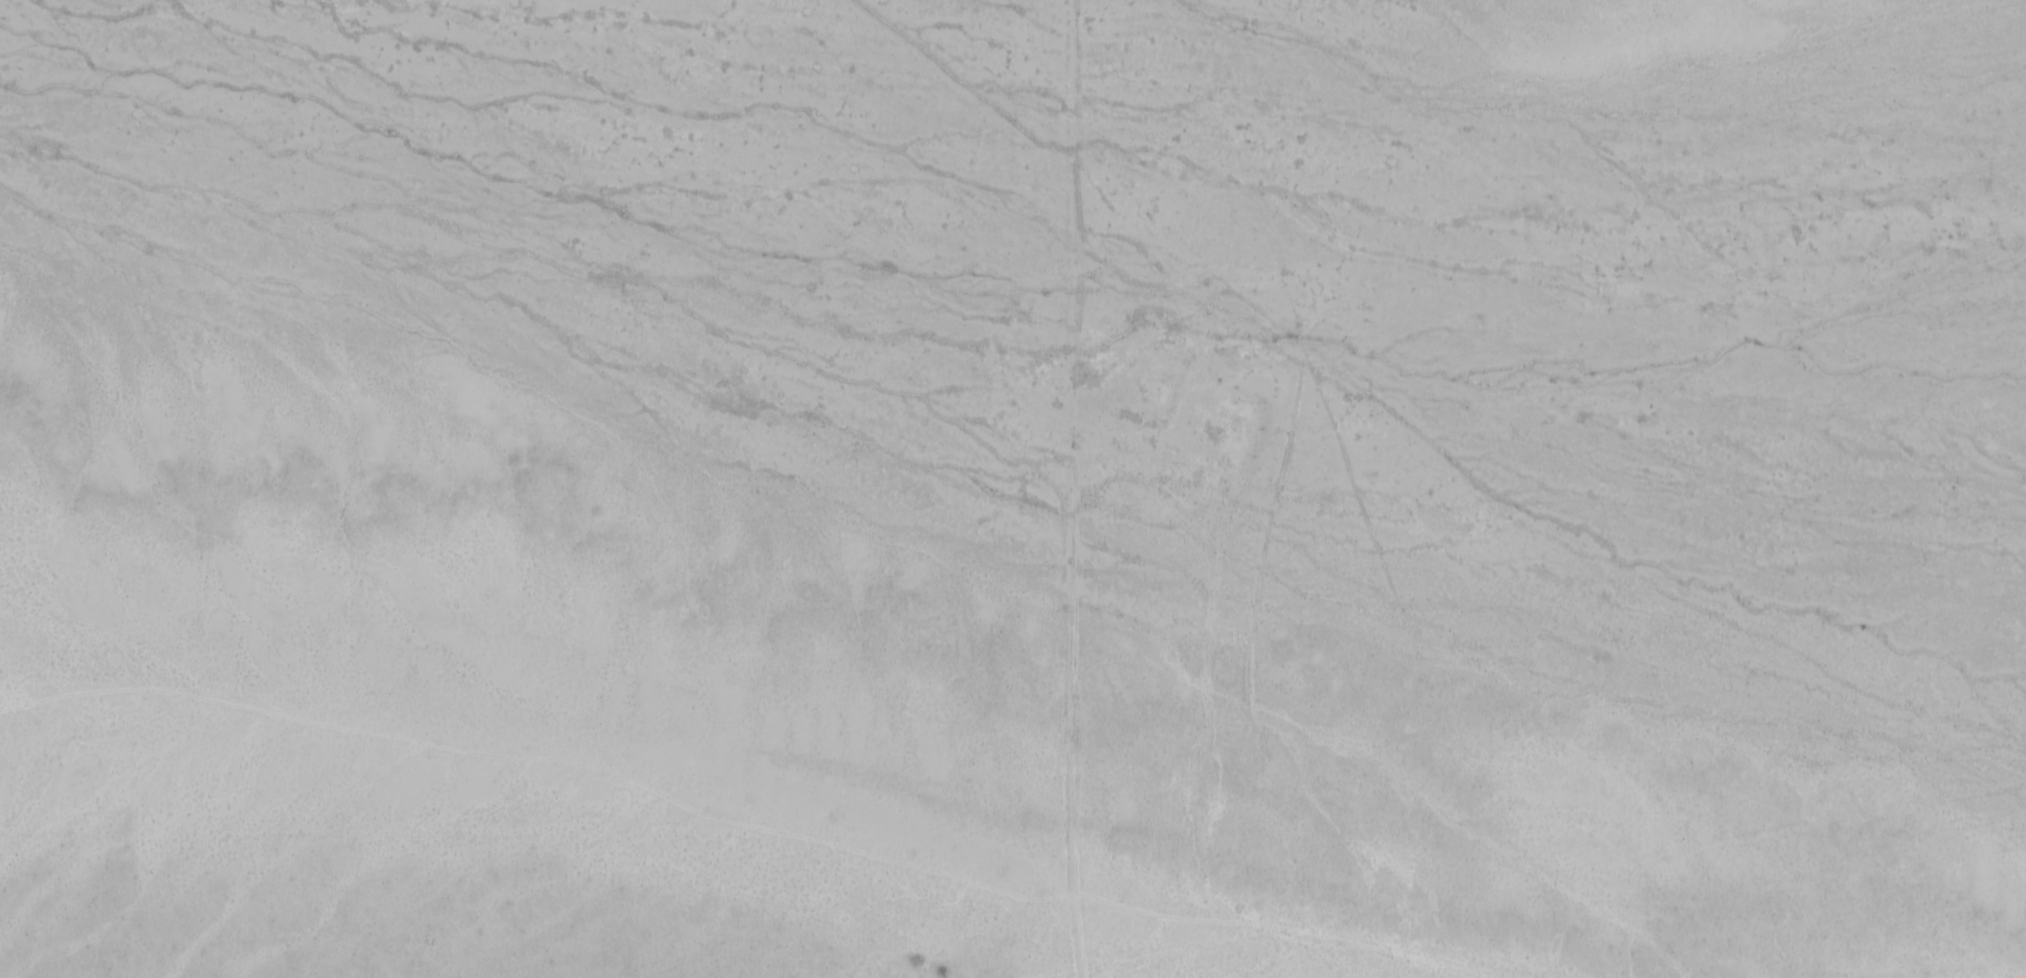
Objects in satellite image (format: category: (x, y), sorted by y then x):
road: (722, 823)

